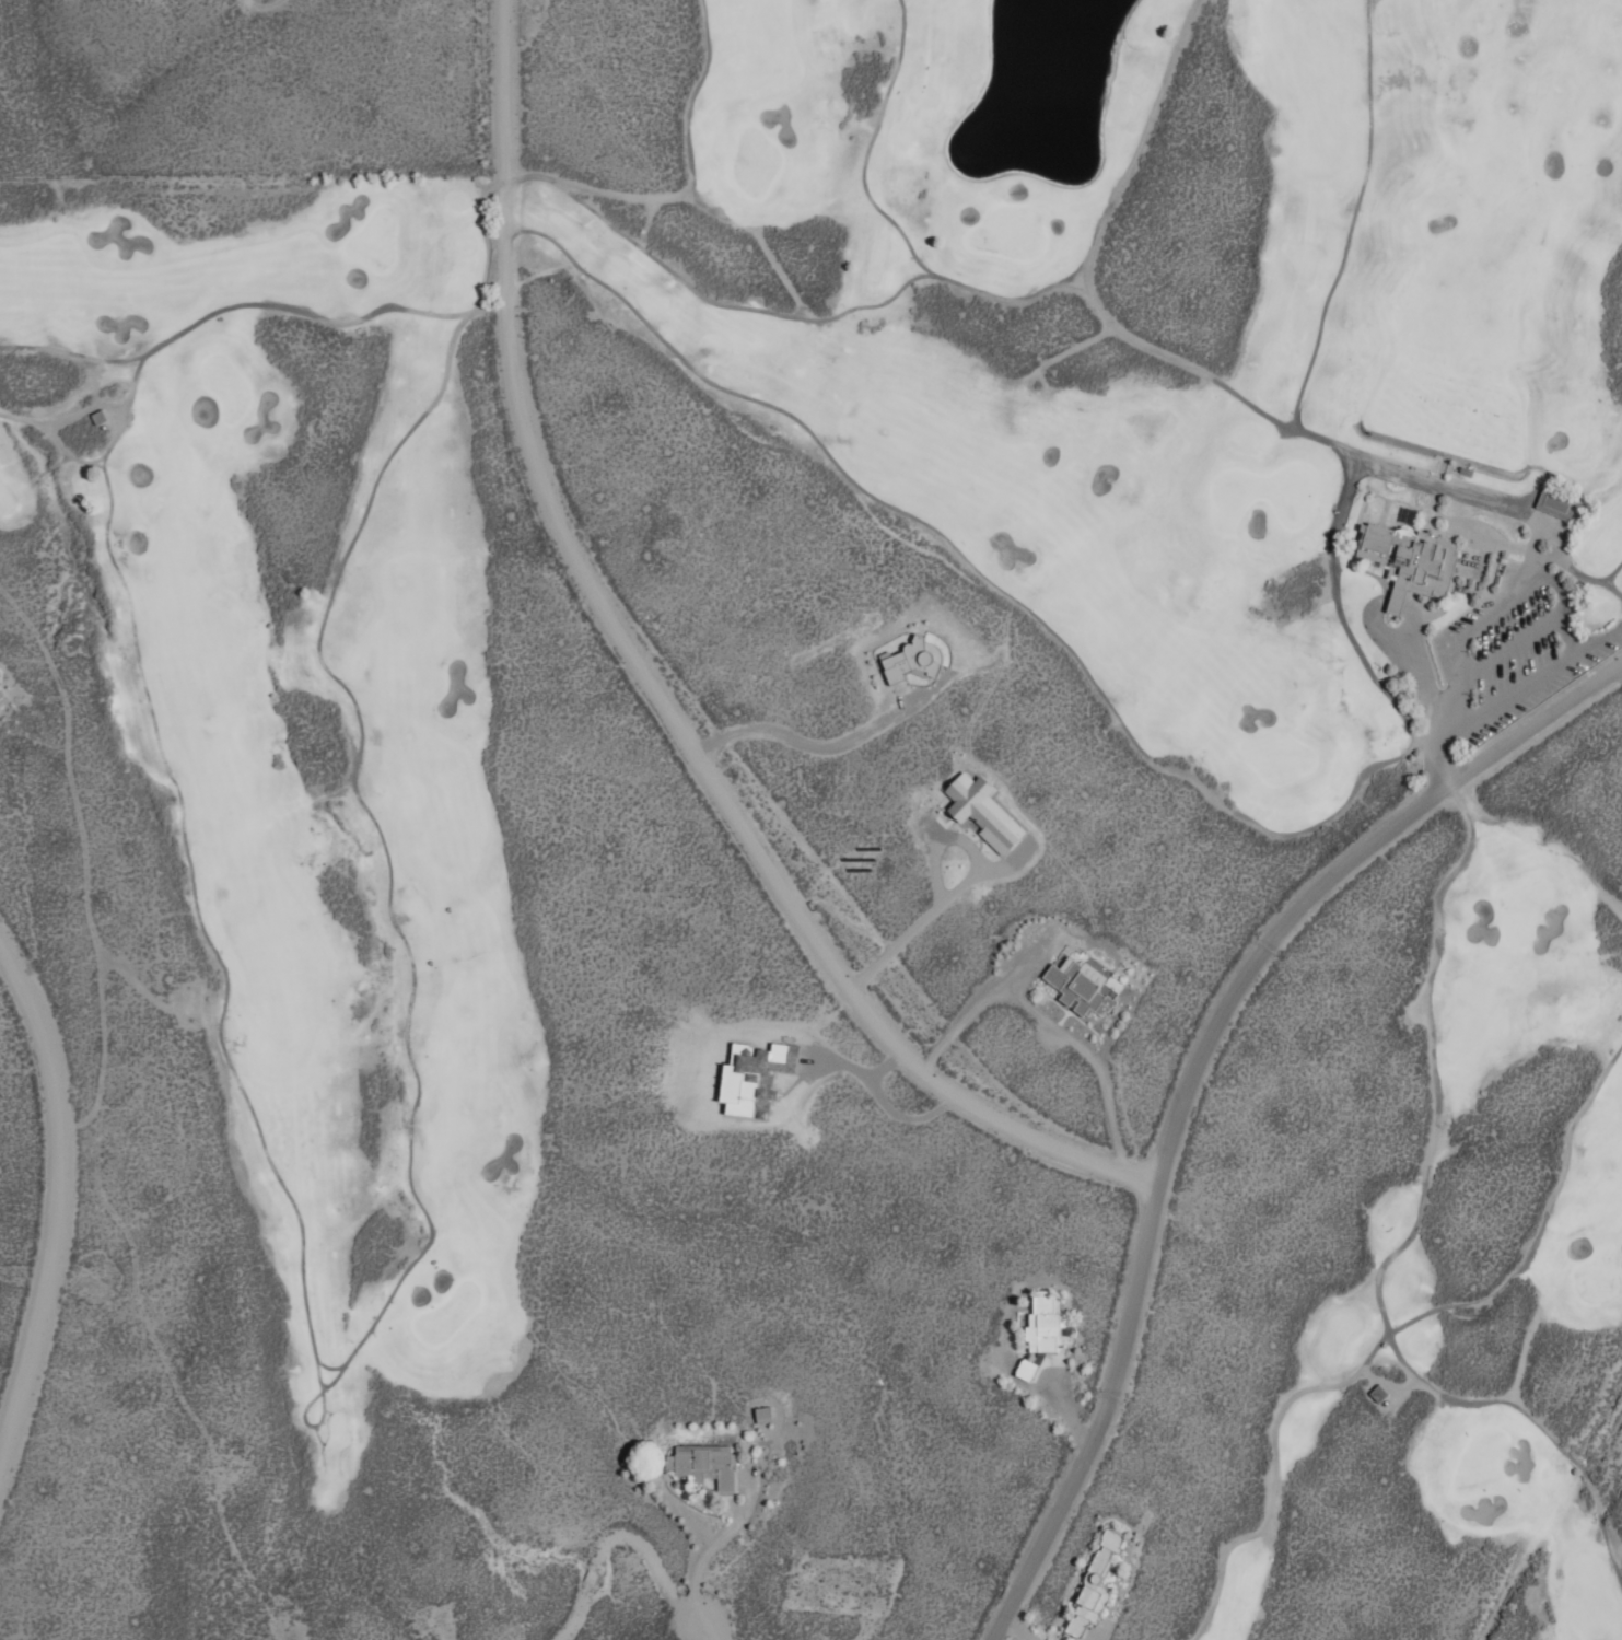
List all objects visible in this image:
building: (1554, 503)
building: (1471, 559)
building: (1408, 560)
parking lot: (1515, 658)
building: (911, 659)
road: (653, 695)
building: (1, 696)
building: (981, 810)
park: (345, 830)
building: (1078, 984)
building: (751, 1077)
road: (1199, 1077)
road: (60, 1189)
building: (1038, 1331)
building: (702, 1463)
road: (542, 1525)
building: (1094, 1580)

